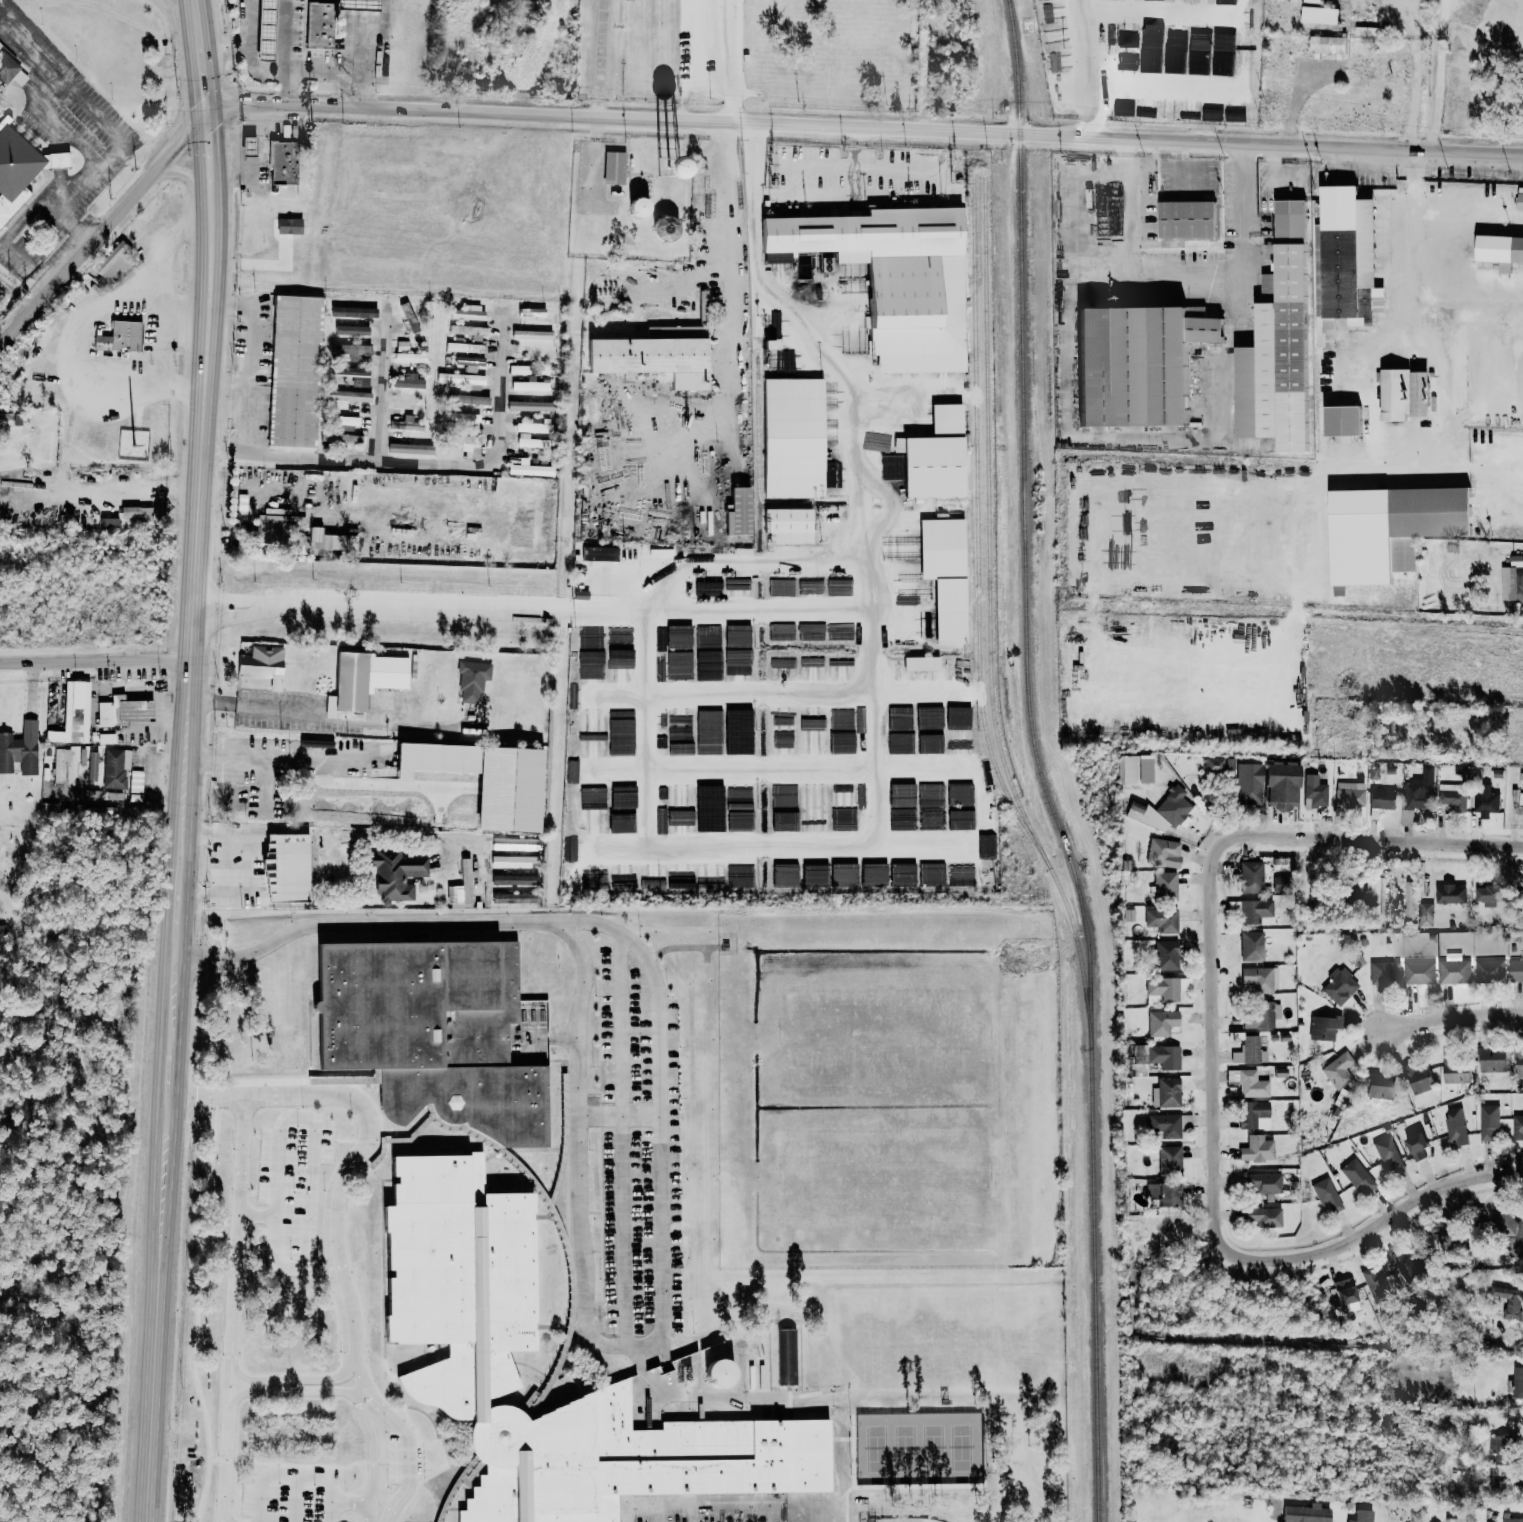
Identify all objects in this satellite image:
building: (1224, 1)
building: (359, 4)
building: (1318, 13)
building: (320, 24)
building: (266, 30)
building: (1366, 30)
building: (1175, 37)
building: (1328, 45)
road: (227, 46)
building: (1150, 49)
building: (1223, 52)
road: (205, 58)
road: (377, 58)
road: (601, 59)
building: (1174, 59)
road: (735, 62)
building: (1198, 63)
building: (6, 68)
road: (1089, 69)
road: (273, 70)
road: (1414, 75)
road: (1446, 76)
road: (289, 88)
road: (37, 107)
road: (93, 109)
building: (1187, 111)
traffic signals: (207, 118)
road: (863, 129)
building: (245, 146)
road: (59, 160)
building: (17, 163)
building: (282, 163)
road: (1362, 163)
road: (211, 165)
building: (616, 166)
building: (656, 170)
road: (1241, 173)
road: (189, 176)
building: (1521, 200)
building: (636, 207)
road: (67, 219)
building: (1185, 219)
building: (287, 226)
building: (663, 228)
road: (101, 230)
road: (1416, 230)
road: (9, 231)
building: (1500, 248)
building: (1345, 256)
building: (111, 260)
building: (778, 261)
road: (1154, 275)
road: (154, 278)
building: (894, 278)
road: (18, 294)
road: (143, 303)
building: (468, 313)
building: (351, 330)
building: (467, 330)
building: (531, 334)
building: (118, 337)
building: (852, 343)
building: (1277, 343)
building: (465, 347)
building: (349, 349)
building: (654, 355)
building: (410, 358)
road: (249, 361)
building: (469, 361)
building: (1136, 364)
building: (527, 366)
building: (296, 368)
road: (126, 374)
building: (353, 375)
building: (462, 380)
building: (407, 381)
railway: (975, 383)
railway: (986, 383)
building: (531, 384)
road: (383, 389)
road: (676, 392)
building: (1418, 394)
building: (1394, 395)
building: (348, 396)
building: (467, 399)
road: (746, 401)
building: (406, 403)
road: (857, 403)
building: (530, 406)
road: (227, 407)
building: (462, 417)
building: (5, 419)
building: (344, 420)
building: (1344, 420)
building: (534, 423)
building: (406, 424)
building: (795, 437)
building: (344, 439)
building: (463, 442)
building: (530, 442)
building: (409, 449)
road: (424, 462)
building: (934, 466)
building: (529, 470)
road: (73, 485)
building: (1433, 512)
building: (737, 513)
building: (790, 520)
road: (201, 539)
building: (323, 541)
building: (943, 549)
building: (598, 554)
road: (681, 566)
building: (1512, 580)
building: (811, 586)
building: (845, 586)
building: (908, 586)
building: (735, 589)
building: (779, 589)
road: (229, 597)
road: (505, 607)
road: (230, 621)
building: (812, 632)
building: (841, 632)
building: (738, 636)
road: (98, 659)
building: (260, 662)
building: (922, 662)
building: (737, 664)
road: (283, 672)
building: (620, 678)
building: (472, 680)
building: (351, 681)
road: (932, 690)
railway: (980, 696)
road: (256, 708)
building: (123, 711)
building: (73, 714)
railway: (996, 725)
building: (592, 727)
building: (782, 735)
building: (106, 738)
building: (960, 743)
building: (591, 744)
building: (900, 744)
building: (1522, 746)
building: (685, 748)
building: (20, 750)
road: (293, 751)
building: (82, 756)
building: (60, 763)
railway: (1036, 764)
building: (1229, 764)
building: (1214, 765)
building: (92, 766)
building: (115, 768)
building: (1143, 769)
building: (1126, 770)
building: (572, 771)
building: (1373, 773)
road: (274, 780)
building: (1520, 780)
building: (484, 781)
building: (1248, 784)
building: (135, 785)
road: (873, 785)
building: (1280, 786)
building: (1314, 792)
building: (966, 794)
building: (1350, 794)
building: (1416, 796)
building: (1452, 796)
building: (620, 799)
building: (1382, 799)
building: (790, 800)
building: (1485, 802)
building: (739, 804)
building: (49, 808)
building: (1162, 811)
building: (593, 817)
building: (783, 821)
building: (815, 821)
building: (930, 822)
building: (620, 823)
road: (354, 832)
road: (1373, 837)
building: (511, 844)
building: (570, 847)
building: (1163, 853)
building: (513, 862)
building: (285, 868)
road: (250, 873)
building: (395, 874)
building: (785, 875)
building: (962, 875)
building: (682, 876)
building: (711, 876)
building: (905, 876)
building: (932, 876)
building: (1251, 877)
building: (815, 879)
building: (514, 880)
building: (465, 884)
building: (1165, 886)
building: (1450, 893)
building: (1485, 895)
building: (514, 897)
building: (1378, 899)
building: (1409, 900)
road: (180, 903)
railway: (1066, 906)
building: (1256, 912)
building: (1426, 913)
building: (1162, 919)
building: (1250, 945)
building: (1166, 955)
building: (1454, 969)
building: (1489, 969)
building: (1516, 970)
building: (1384, 972)
building: (1419, 972)
building: (1258, 978)
building: (1339, 985)
building: (1166, 989)
road: (174, 999)
building: (1262, 1015)
road: (1444, 1017)
building: (1161, 1022)
building: (1324, 1027)
building: (433, 1031)
road: (1217, 1048)
building: (1249, 1050)
building: (1152, 1057)
building: (1491, 1058)
building: (1518, 1063)
building: (1338, 1069)
building: (1280, 1072)
road: (170, 1074)
building: (1417, 1077)
building: (1248, 1082)
road: (1478, 1082)
building: (1379, 1085)
building: (1166, 1092)
road: (193, 1093)
road: (344, 1094)
building: (1343, 1098)
road: (259, 1103)
building: (1252, 1113)
road: (619, 1114)
building: (1185, 1120)
building: (1488, 1122)
building: (1165, 1125)
building: (1455, 1125)
building: (1517, 1127)
road: (622, 1138)
building: (1416, 1145)
building: (1256, 1149)
road: (662, 1153)
building: (1388, 1155)
building: (1169, 1160)
building: (1357, 1176)
building: (1264, 1182)
road: (313, 1185)
building: (1164, 1193)
building: (1326, 1194)
building: (1264, 1217)
road: (1380, 1224)
building: (1509, 1231)
building: (1445, 1238)
building: (1406, 1264)
building: (460, 1273)
building: (1369, 1280)
building: (1342, 1291)
building: (1510, 1301)
road: (157, 1307)
road: (1511, 1340)
building: (786, 1356)
building: (715, 1373)
road: (238, 1374)
road: (231, 1382)
building: (1515, 1383)
road: (358, 1384)
road: (236, 1394)
road: (369, 1399)
road: (408, 1435)
building: (1500, 1449)
road: (372, 1461)
road: (295, 1472)
road: (295, 1497)
road: (351, 1501)
road: (723, 1505)
building: (1305, 1513)
building: (1415, 1515)
building: (1362, 1516)
park: (906, 1519)
building: (1512, 1519)

